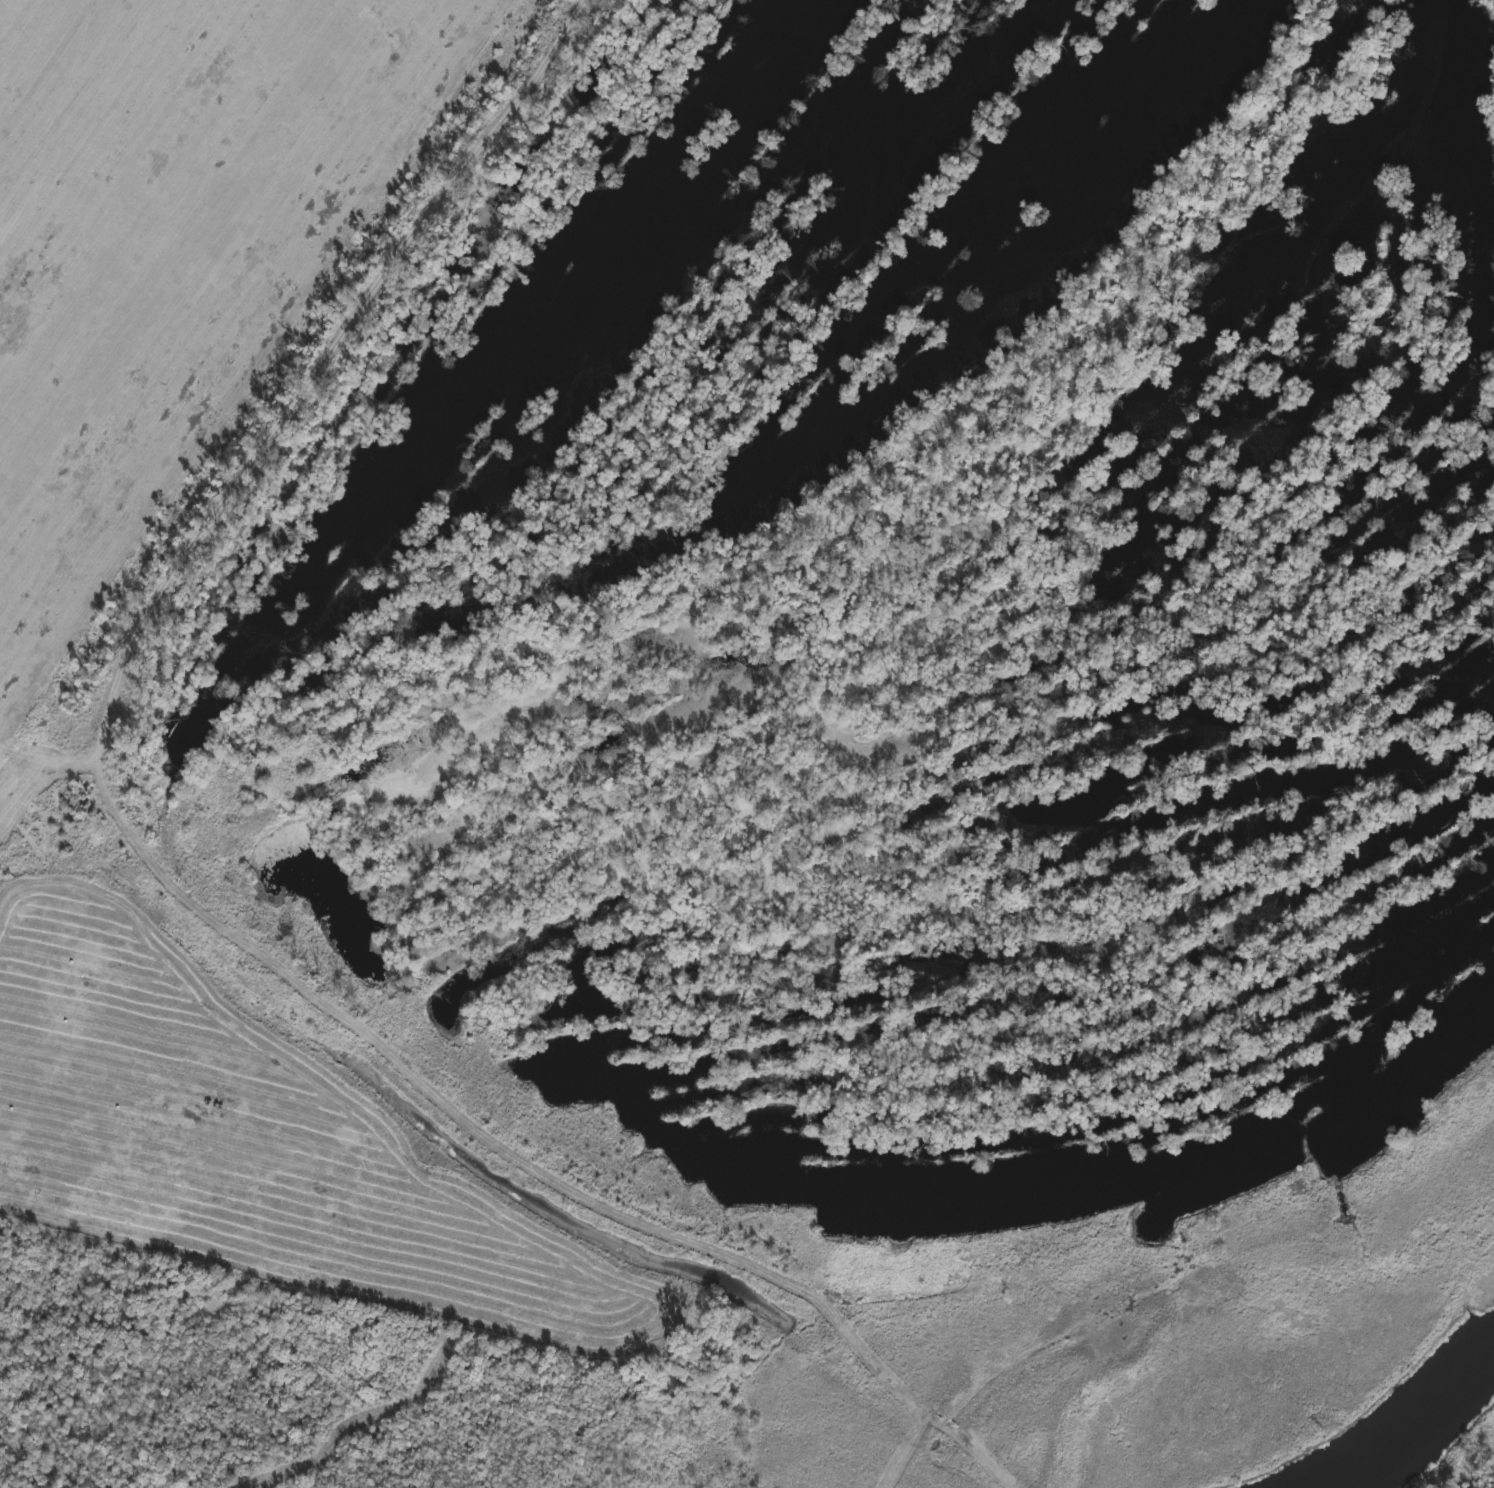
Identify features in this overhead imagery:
road: (1472, 1110)

